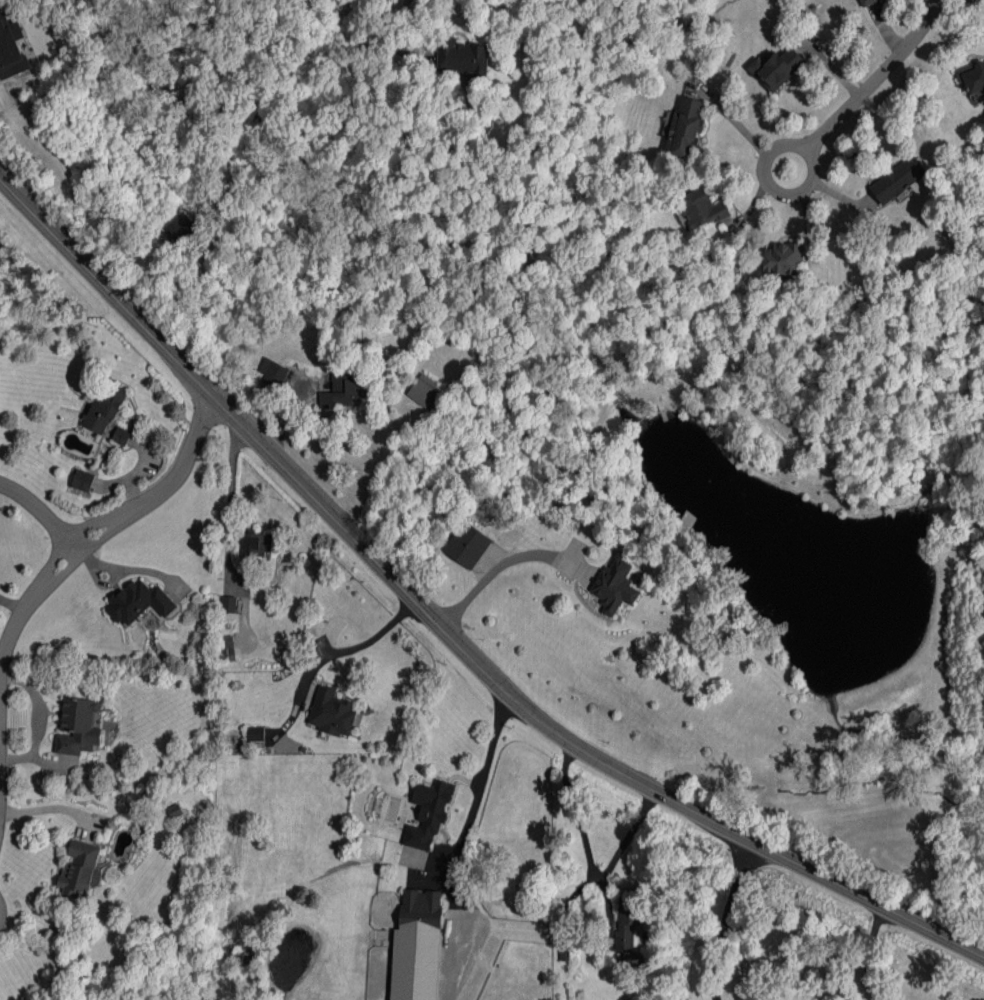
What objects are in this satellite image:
road: (978, 1)
building: (867, 2)
road: (389, 32)
building: (11, 48)
building: (462, 59)
building: (777, 68)
road: (880, 75)
building: (972, 77)
building: (686, 127)
road: (769, 157)
building: (898, 179)
building: (702, 208)
building: (182, 228)
building: (783, 258)
building: (274, 372)
building: (343, 390)
building: (425, 390)
building: (104, 407)
building: (121, 435)
building: (83, 480)
road: (167, 490)
road: (45, 515)
building: (257, 544)
building: (468, 544)
road: (481, 579)
building: (615, 586)
building: (140, 601)
building: (228, 604)
road: (443, 634)
road: (354, 644)
building: (228, 648)
road: (5, 660)
building: (332, 712)
road: (34, 721)
building: (78, 726)
building: (255, 733)
road: (475, 801)
road: (48, 808)
building: (175, 811)
building: (429, 813)
road: (574, 813)
road: (615, 851)
building: (81, 869)
building: (627, 918)
road: (727, 920)
building: (417, 947)
road: (869, 957)

